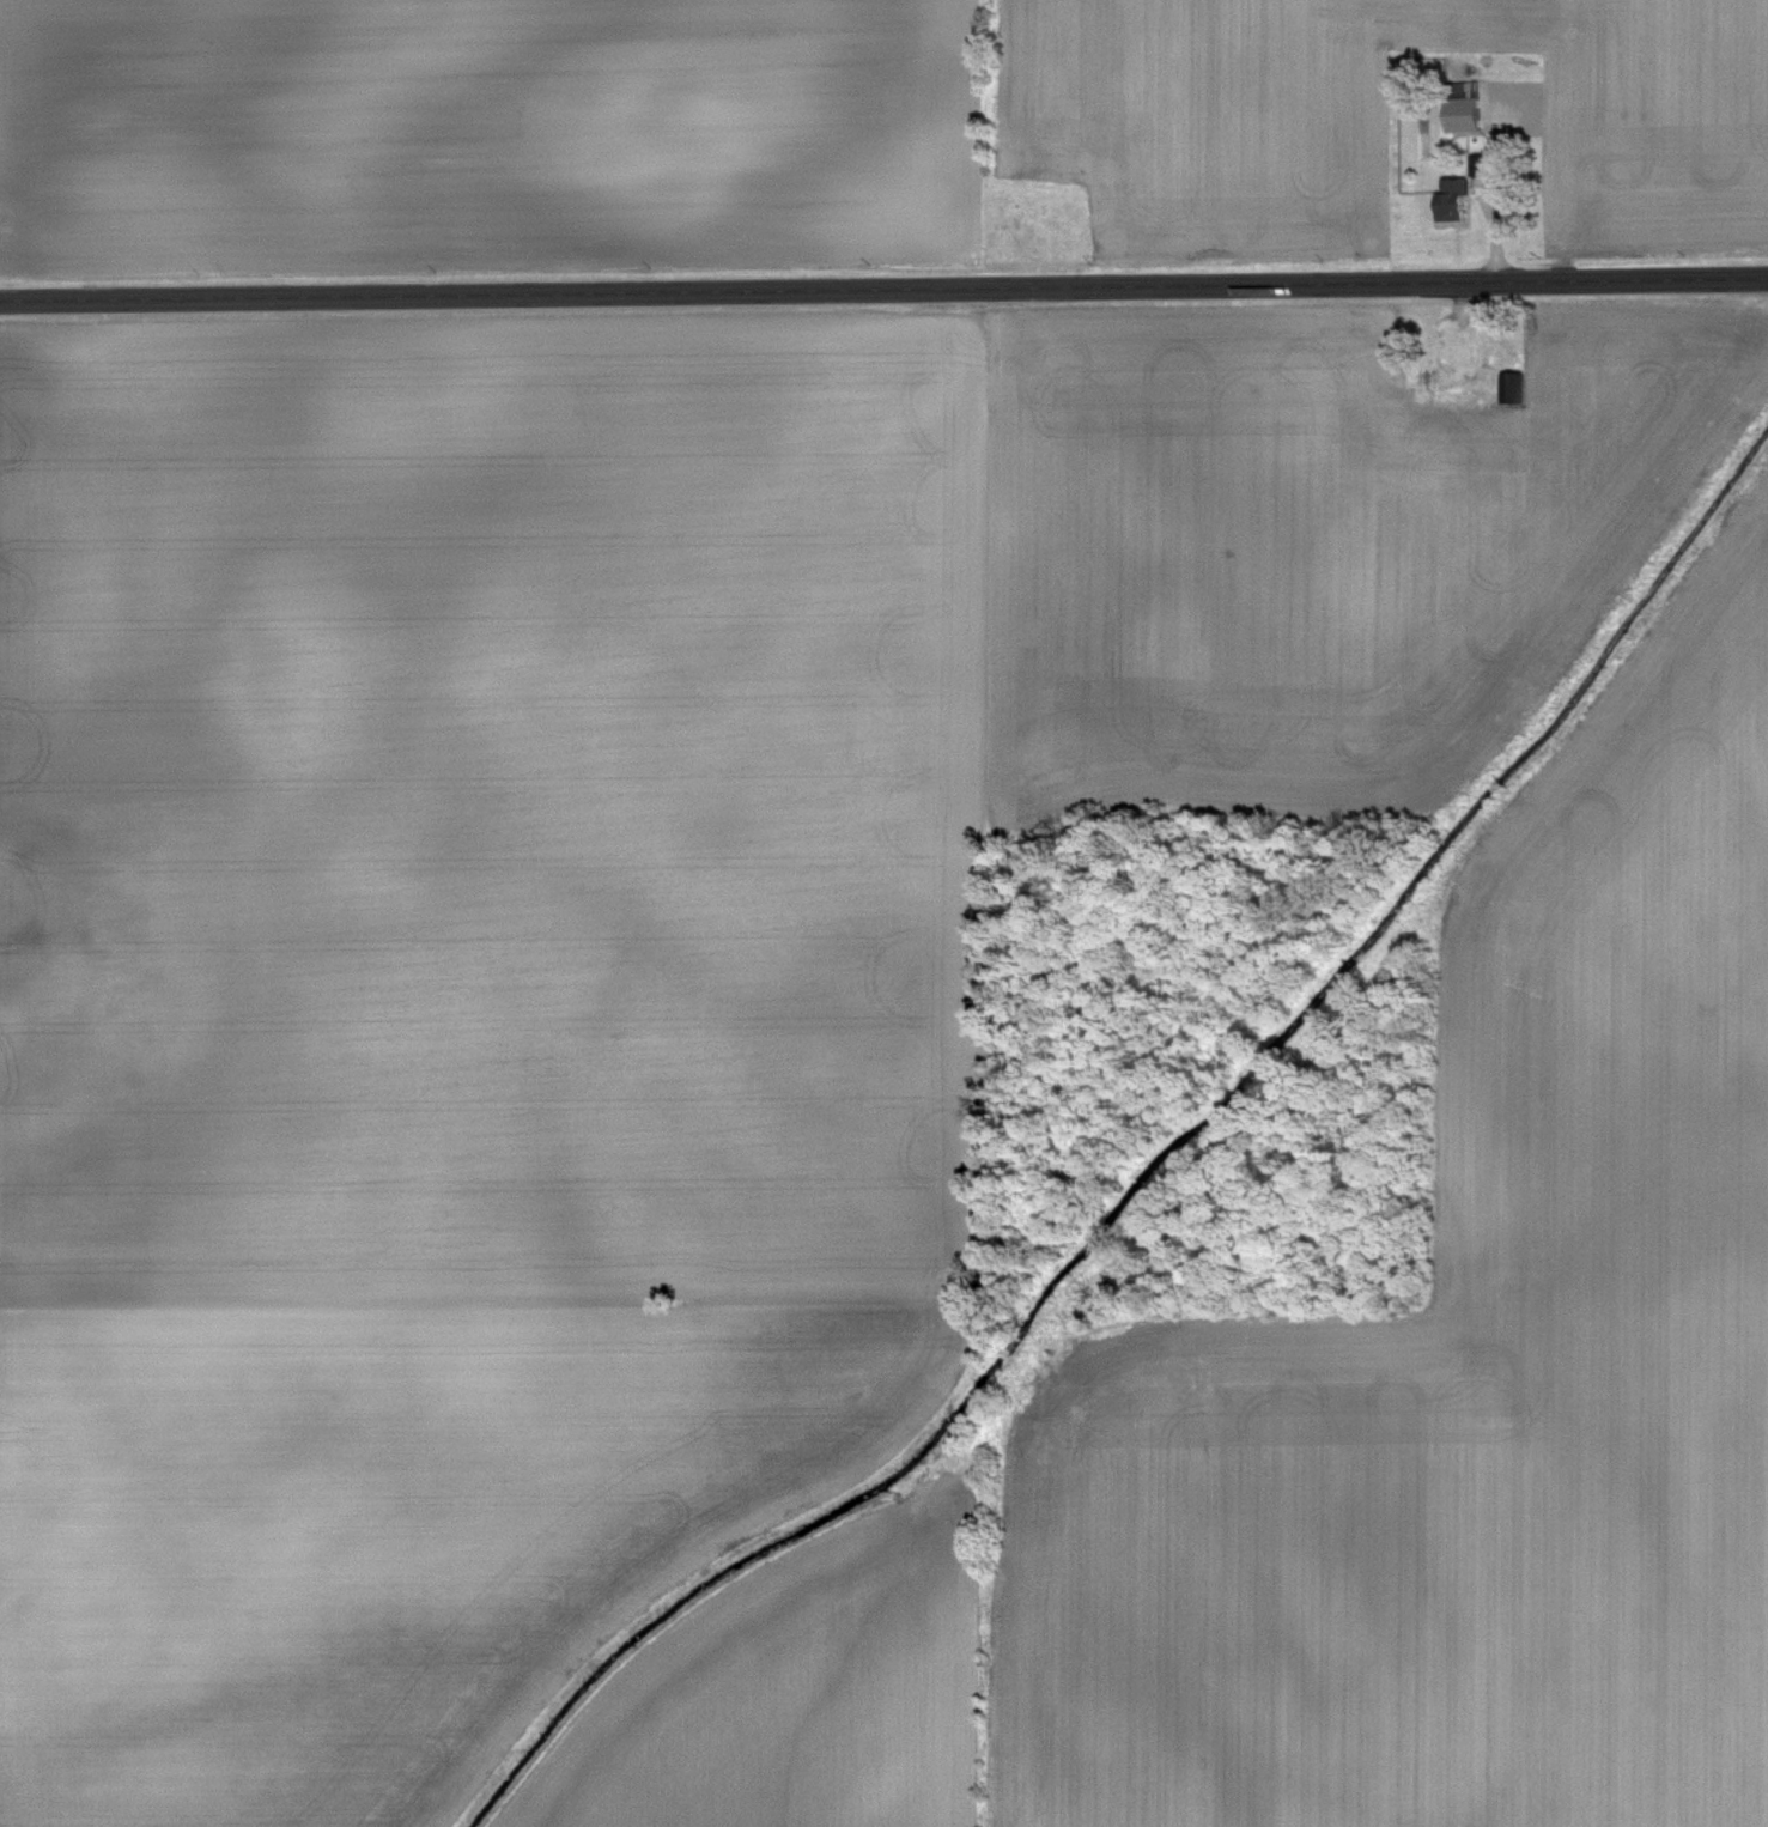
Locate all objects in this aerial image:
building: (1459, 107)
building: (1451, 201)
road: (883, 289)

